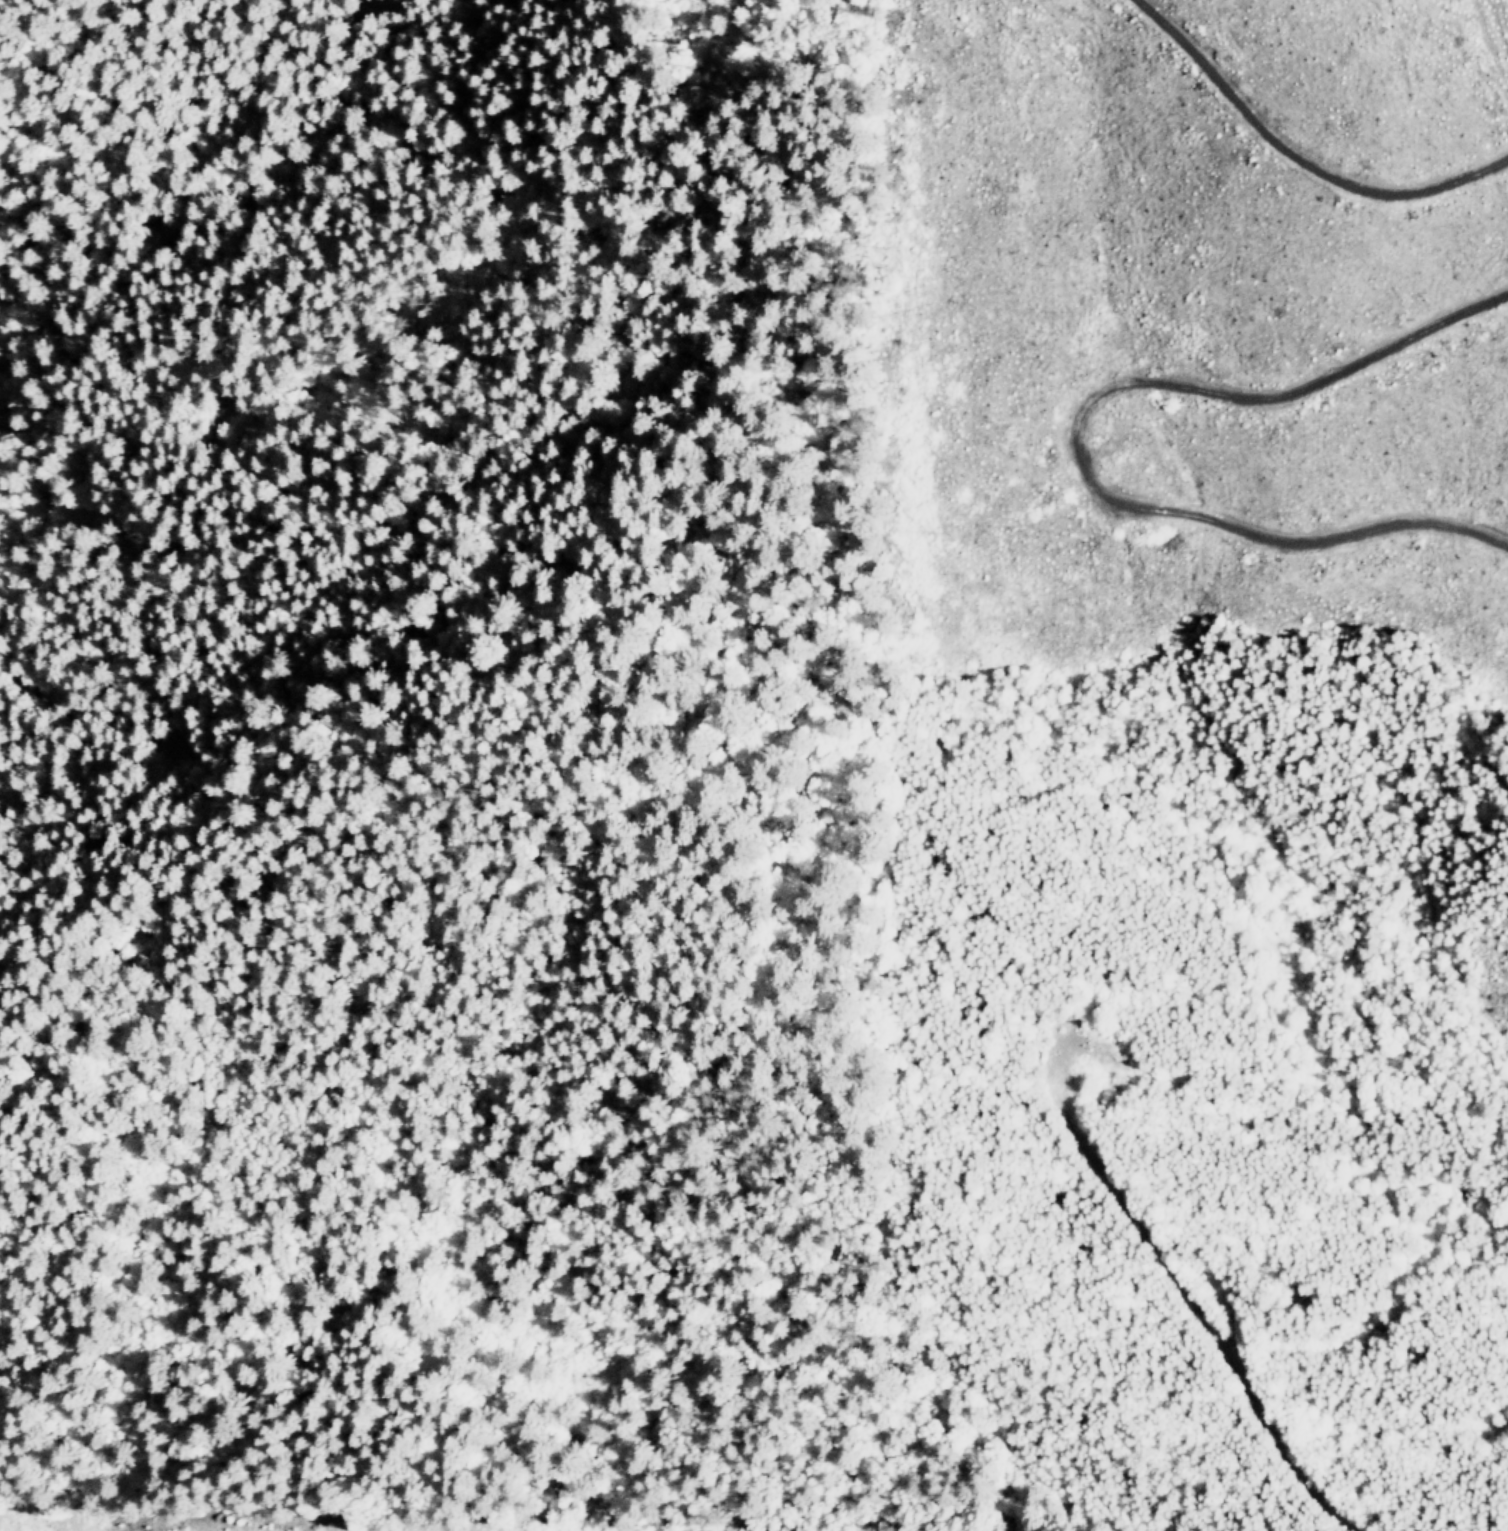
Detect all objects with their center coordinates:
road: (1193, 1297)

